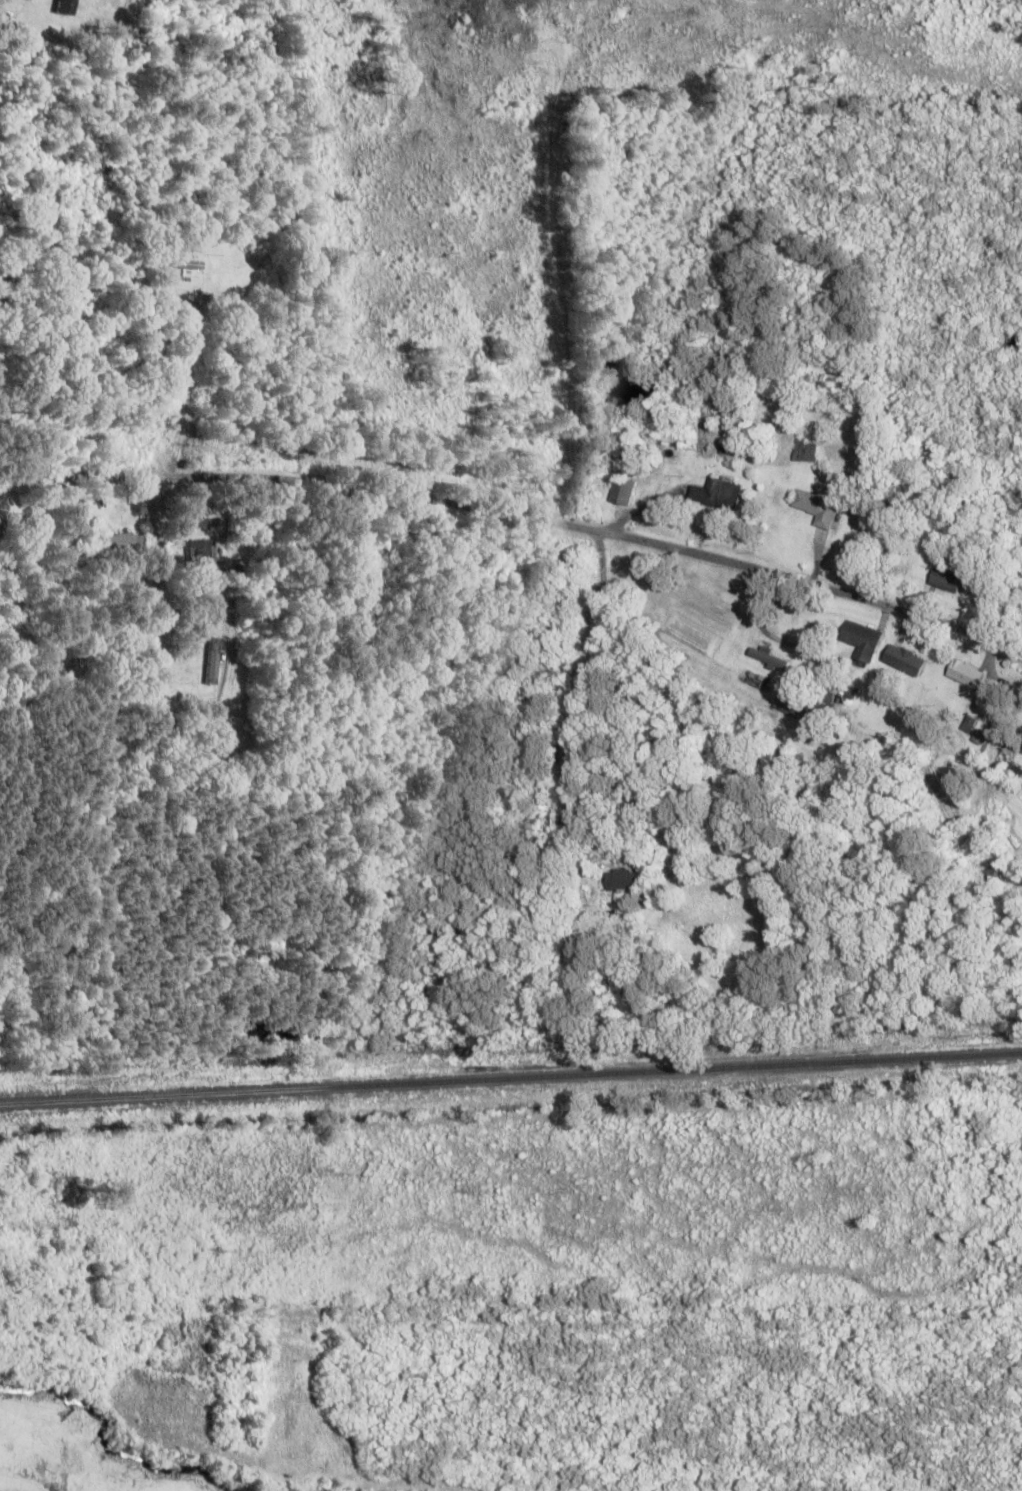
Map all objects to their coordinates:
building: (186, 266)
building: (727, 450)
building: (804, 452)
building: (621, 490)
building: (717, 494)
building: (816, 508)
road: (520, 516)
building: (203, 522)
building: (122, 543)
building: (197, 552)
road: (65, 574)
building: (945, 581)
road: (756, 618)
building: (859, 640)
building: (766, 658)
building: (902, 660)
building: (211, 661)
building: (66, 672)
building: (963, 673)
building: (822, 703)
building: (794, 706)
road: (584, 709)
building: (987, 877)
building: (617, 879)
railway: (510, 1078)

